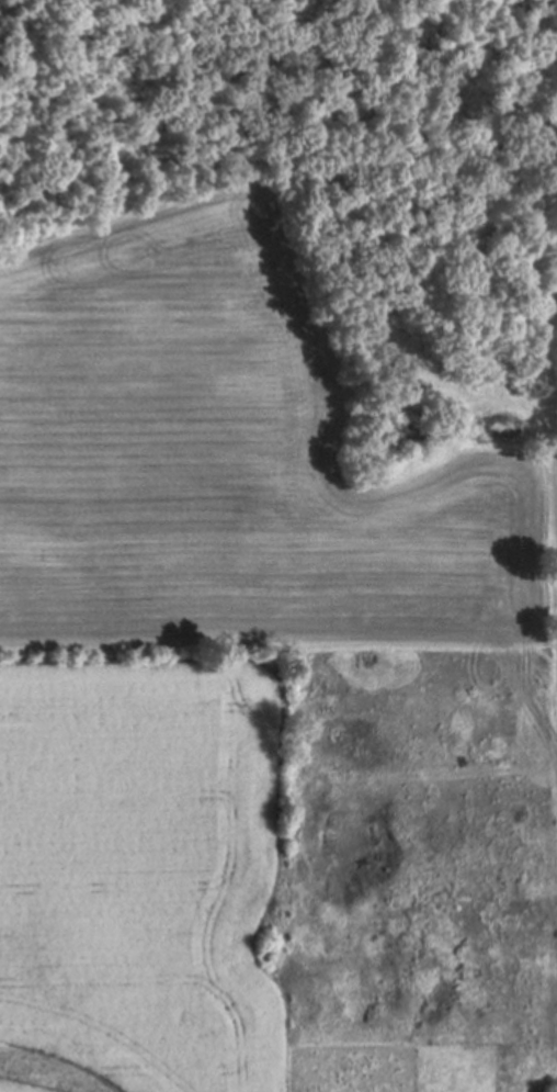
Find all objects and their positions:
road: (535, 233)
road: (379, 307)
building: (399, 435)

